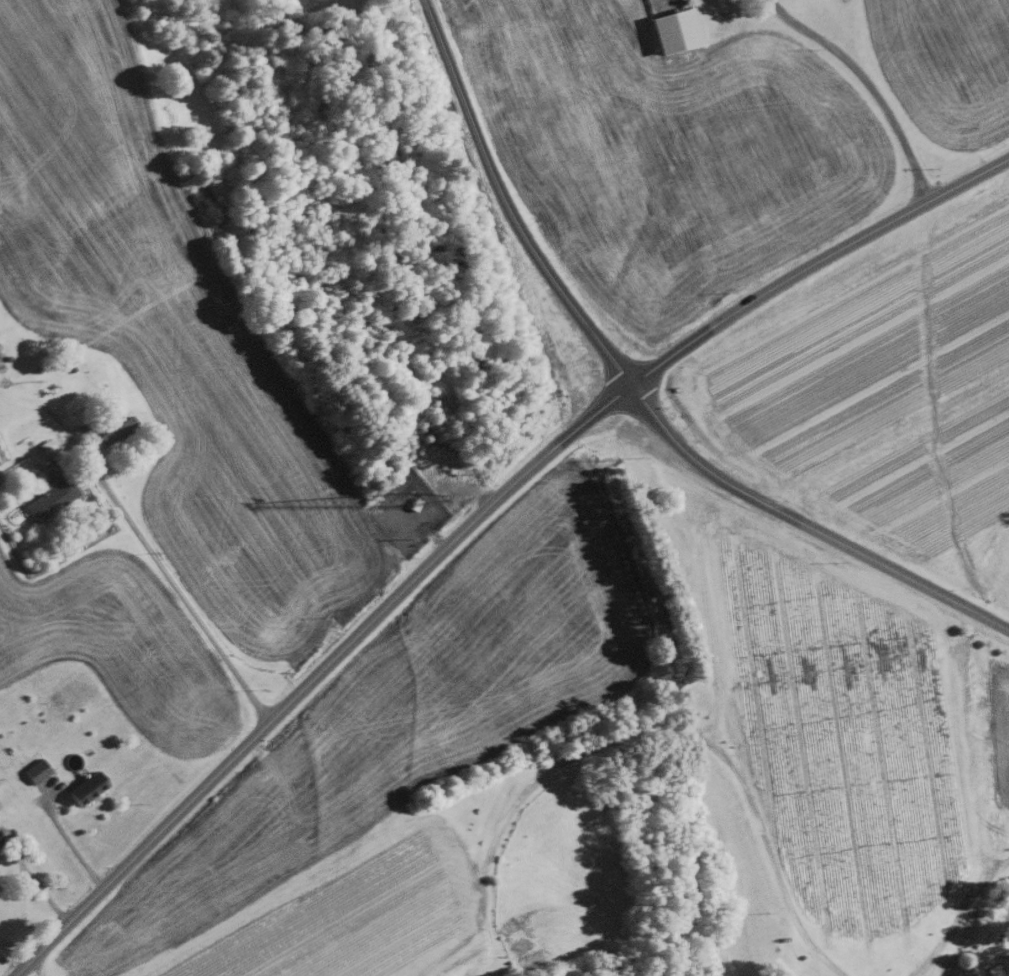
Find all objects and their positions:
building: (671, 28)
road: (865, 83)
road: (503, 205)
building: (114, 428)
building: (48, 497)
road: (473, 518)
road: (805, 524)
road: (164, 578)
building: (83, 787)
road: (66, 839)

